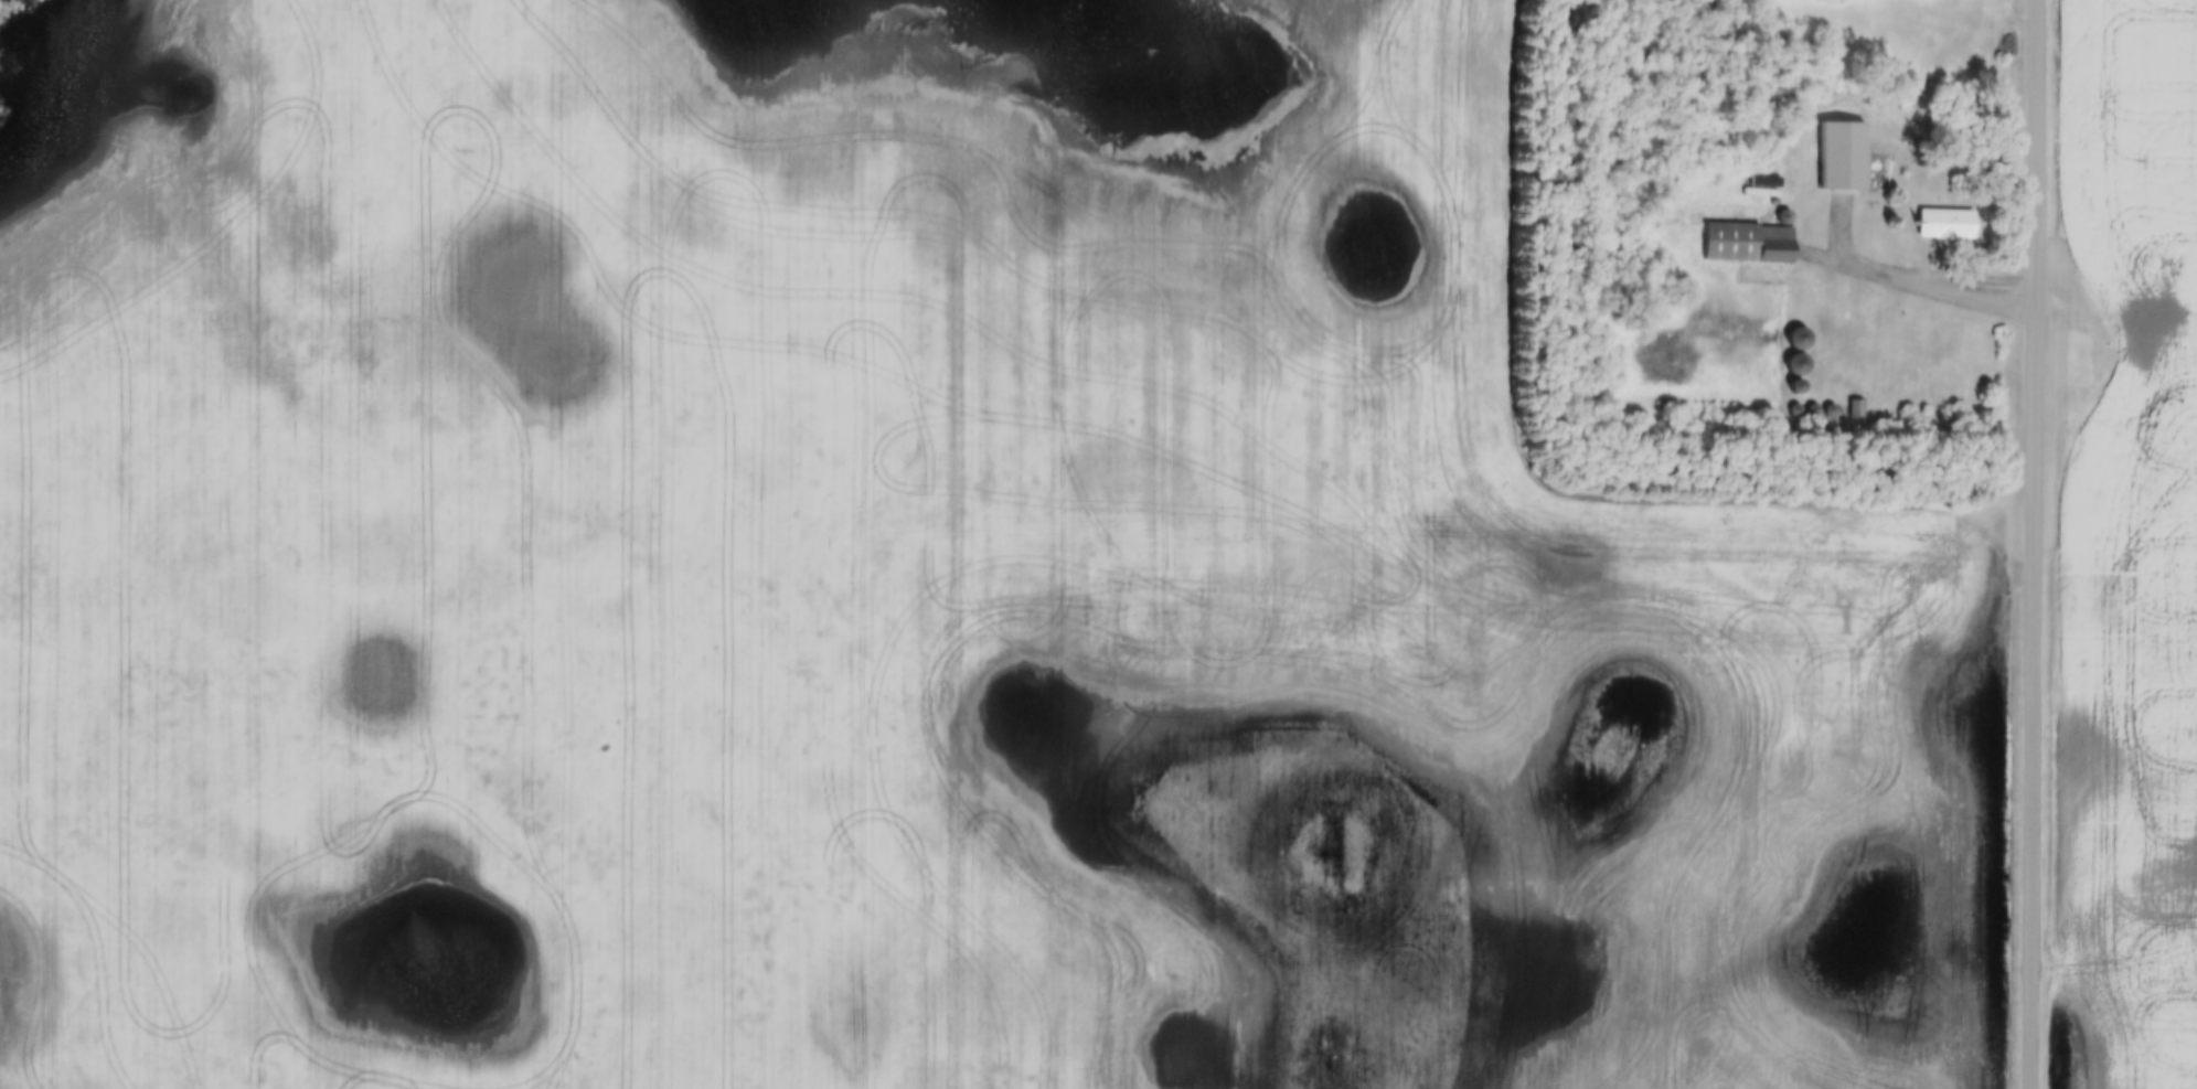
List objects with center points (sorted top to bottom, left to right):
building: (1842, 159)
building: (1944, 226)
building: (1747, 245)
road: (1917, 284)
road: (2029, 544)

